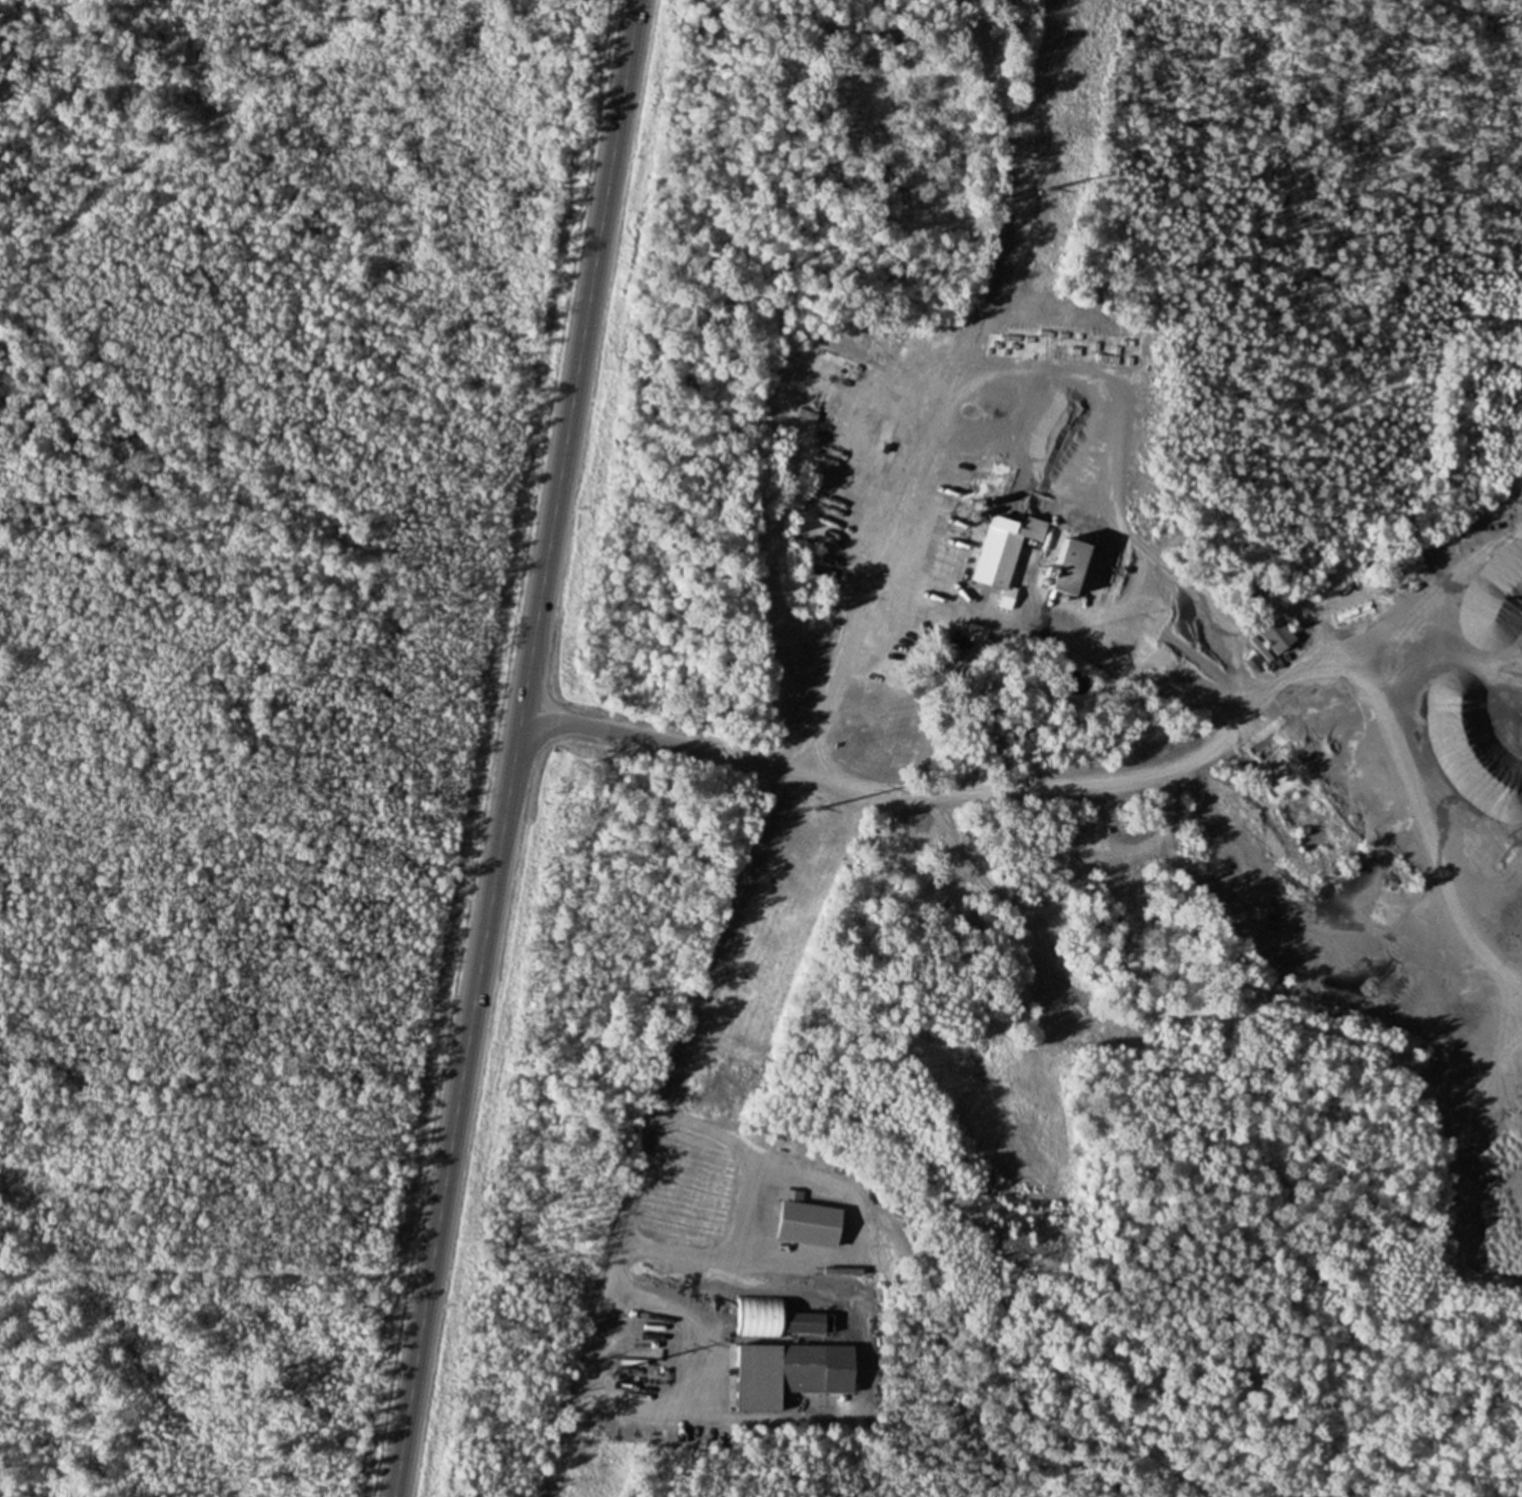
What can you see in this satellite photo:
power tower: (1053, 191)
building: (1005, 553)
quarry: (1157, 621)
building: (1276, 636)
road: (1300, 684)
road: (658, 740)
road: (803, 746)
road: (516, 748)
road: (1190, 761)
road: (1440, 767)
power tower: (817, 806)
building: (807, 1221)
building: (774, 1319)
power tower: (618, 1366)
building: (789, 1372)

